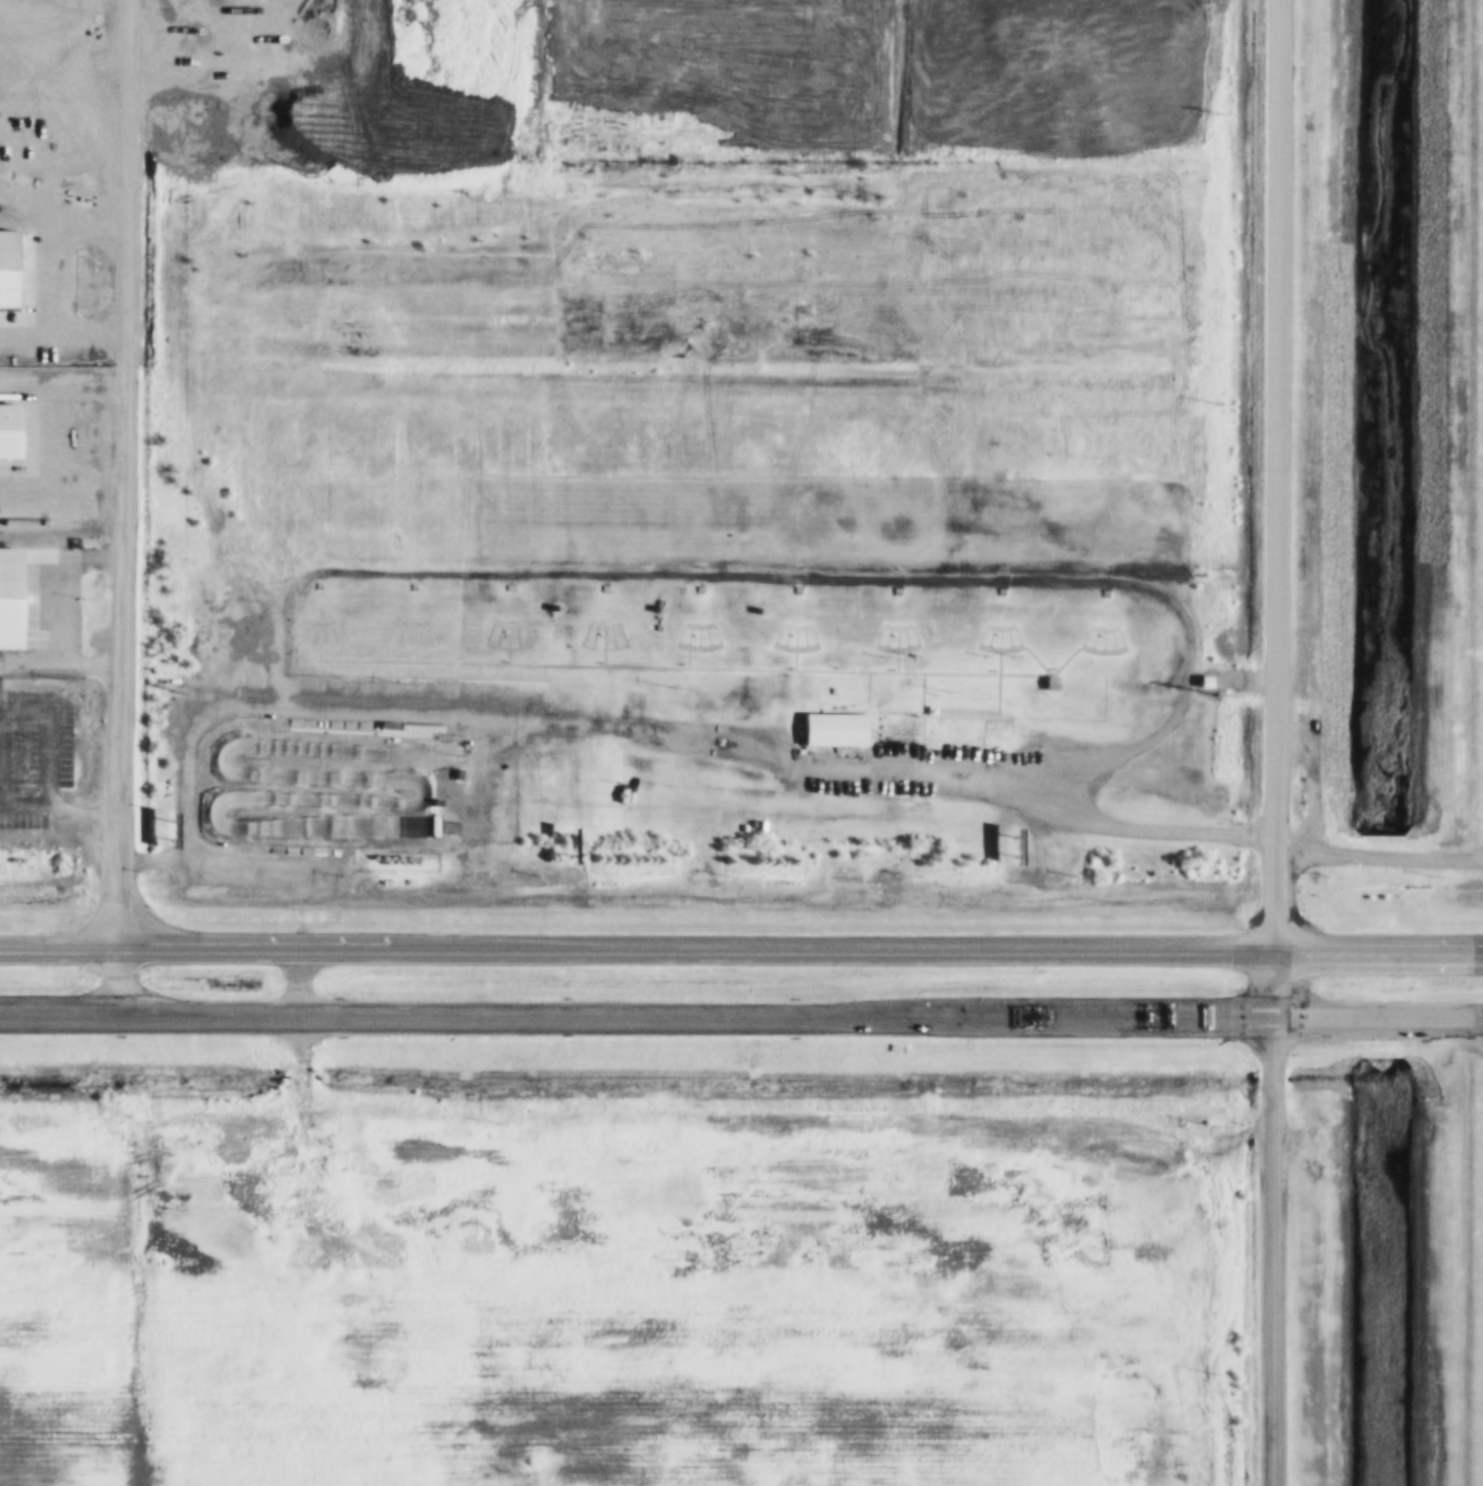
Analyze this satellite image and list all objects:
quarry: (338, 87)
building: (12, 261)
road: (63, 282)
building: (14, 433)
crop: (1478, 475)
road: (128, 507)
road: (1277, 508)
building: (313, 585)
building: (408, 586)
building: (503, 587)
building: (599, 588)
building: (693, 590)
building: (791, 591)
building: (891, 592)
building: (996, 593)
building: (1099, 594)
building: (17, 602)
park: (726, 605)
building: (551, 611)
building: (654, 612)
building: (756, 613)
road: (314, 625)
road: (409, 626)
road: (599, 626)
road: (694, 626)
road: (503, 627)
road: (791, 628)
road: (892, 629)
road: (994, 629)
road: (1098, 631)
road: (296, 633)
road: (332, 633)
road: (391, 634)
road: (427, 634)
road: (485, 635)
road: (521, 635)
road: (581, 635)
road: (617, 635)
road: (676, 635)
road: (712, 635)
road: (304, 636)
road: (323, 636)
road: (773, 636)
road: (809, 636)
road: (399, 637)
road: (418, 637)
road: (874, 637)
road: (910, 637)
road: (976, 637)
road: (1012, 637)
road: (493, 638)
road: (512, 638)
road: (590, 638)
road: (608, 638)
road: (703, 638)
road: (694, 639)
road: (781, 639)
road: (800, 639)
road: (1080, 639)
road: (1116, 639)
road: (883, 640)
road: (901, 640)
road: (985, 640)
road: (1003, 640)
road: (1089, 642)
road: (1107, 642)
road: (1098, 643)
road: (314, 644)
road: (409, 645)
road: (503, 646)
road: (599, 647)
road: (683, 647)
road: (791, 649)
road: (314, 650)
road: (409, 650)
road: (503, 650)
road: (599, 650)
road: (694, 650)
road: (892, 651)
road: (892, 652)
road: (994, 652)
road: (791, 653)
road: (1098, 654)
road: (1029, 661)
road: (699, 669)
road: (994, 682)
building: (1198, 682)
building: (1044, 683)
street lamp: (401, 687)
street lamp: (672, 690)
street lamp: (943, 692)
building: (251, 720)
building: (947, 726)
building: (383, 727)
building: (414, 729)
building: (829, 729)
building: (454, 775)
raceway: (412, 788)
building: (431, 803)
road: (1128, 826)
road: (741, 951)
road: (741, 1015)
road: (296, 1081)
road: (1268, 1251)
crop: (1461, 1292)
crop: (605, 1307)

